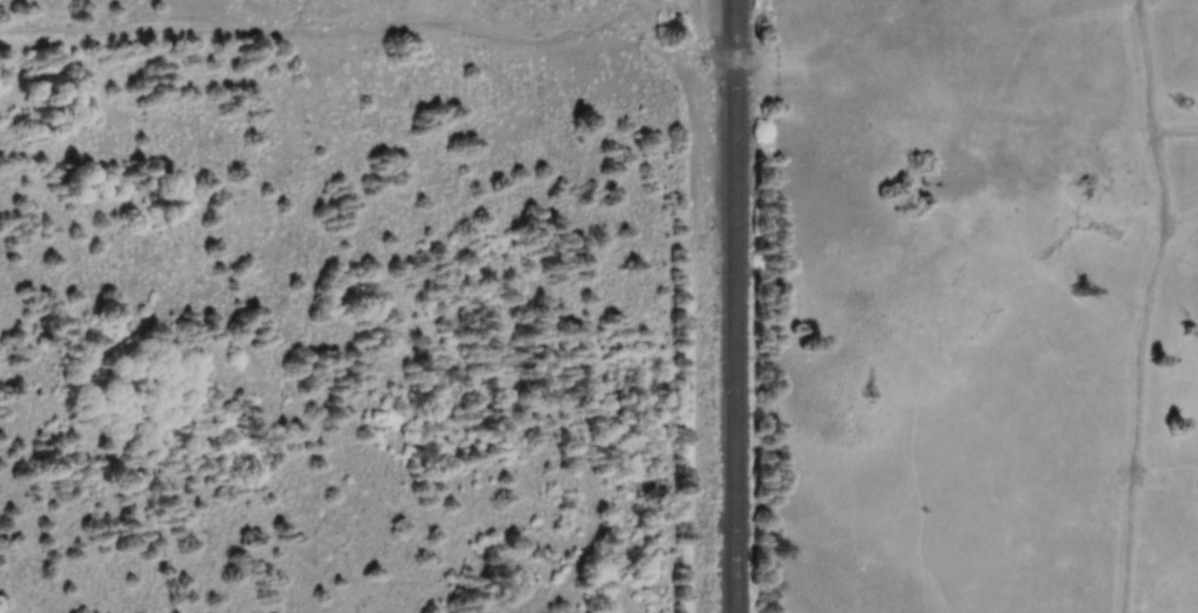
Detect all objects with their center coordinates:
railway: (729, 306)

